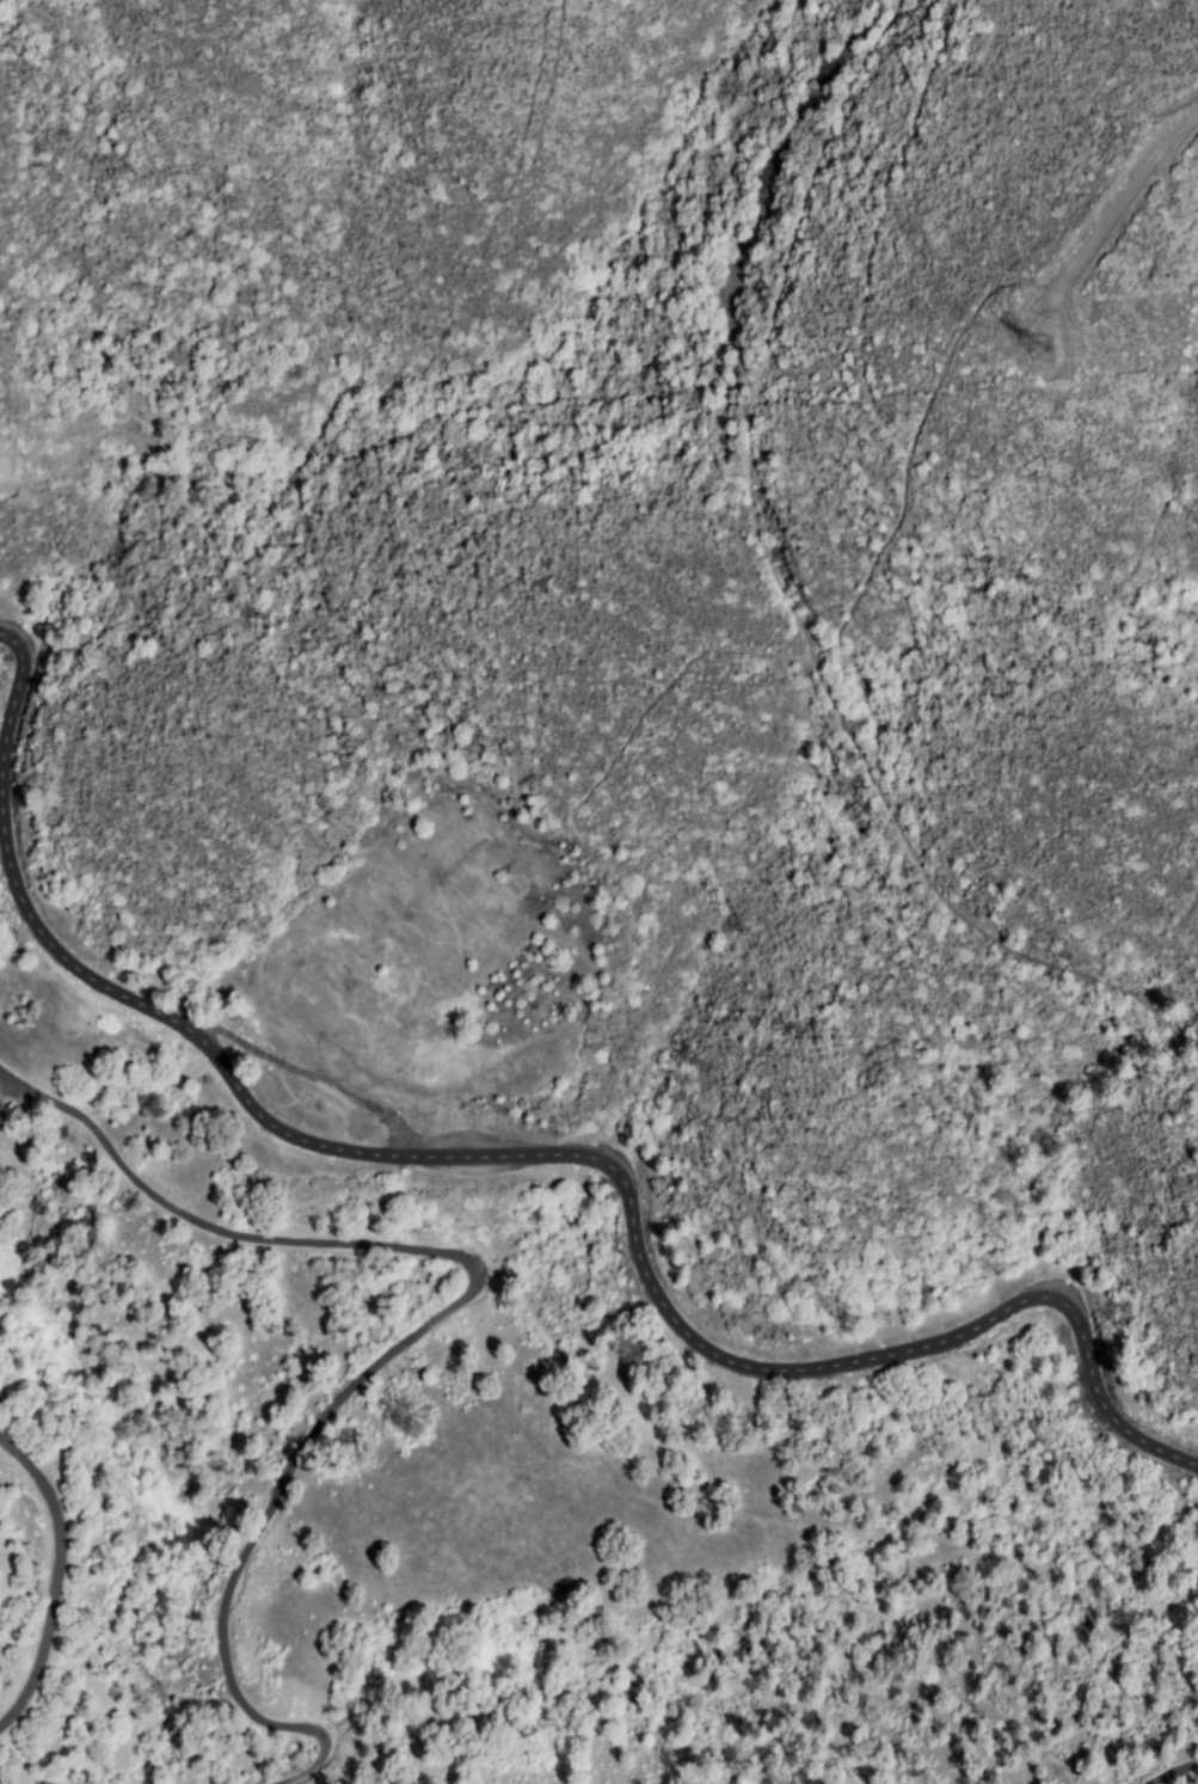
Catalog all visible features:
road: (1126, 195)
power tower: (1036, 350)
road: (913, 443)
road: (787, 602)
quarry: (444, 960)
road: (321, 1083)
road: (532, 1160)
road: (455, 1317)
road: (62, 1574)
road: (1180, 1774)

